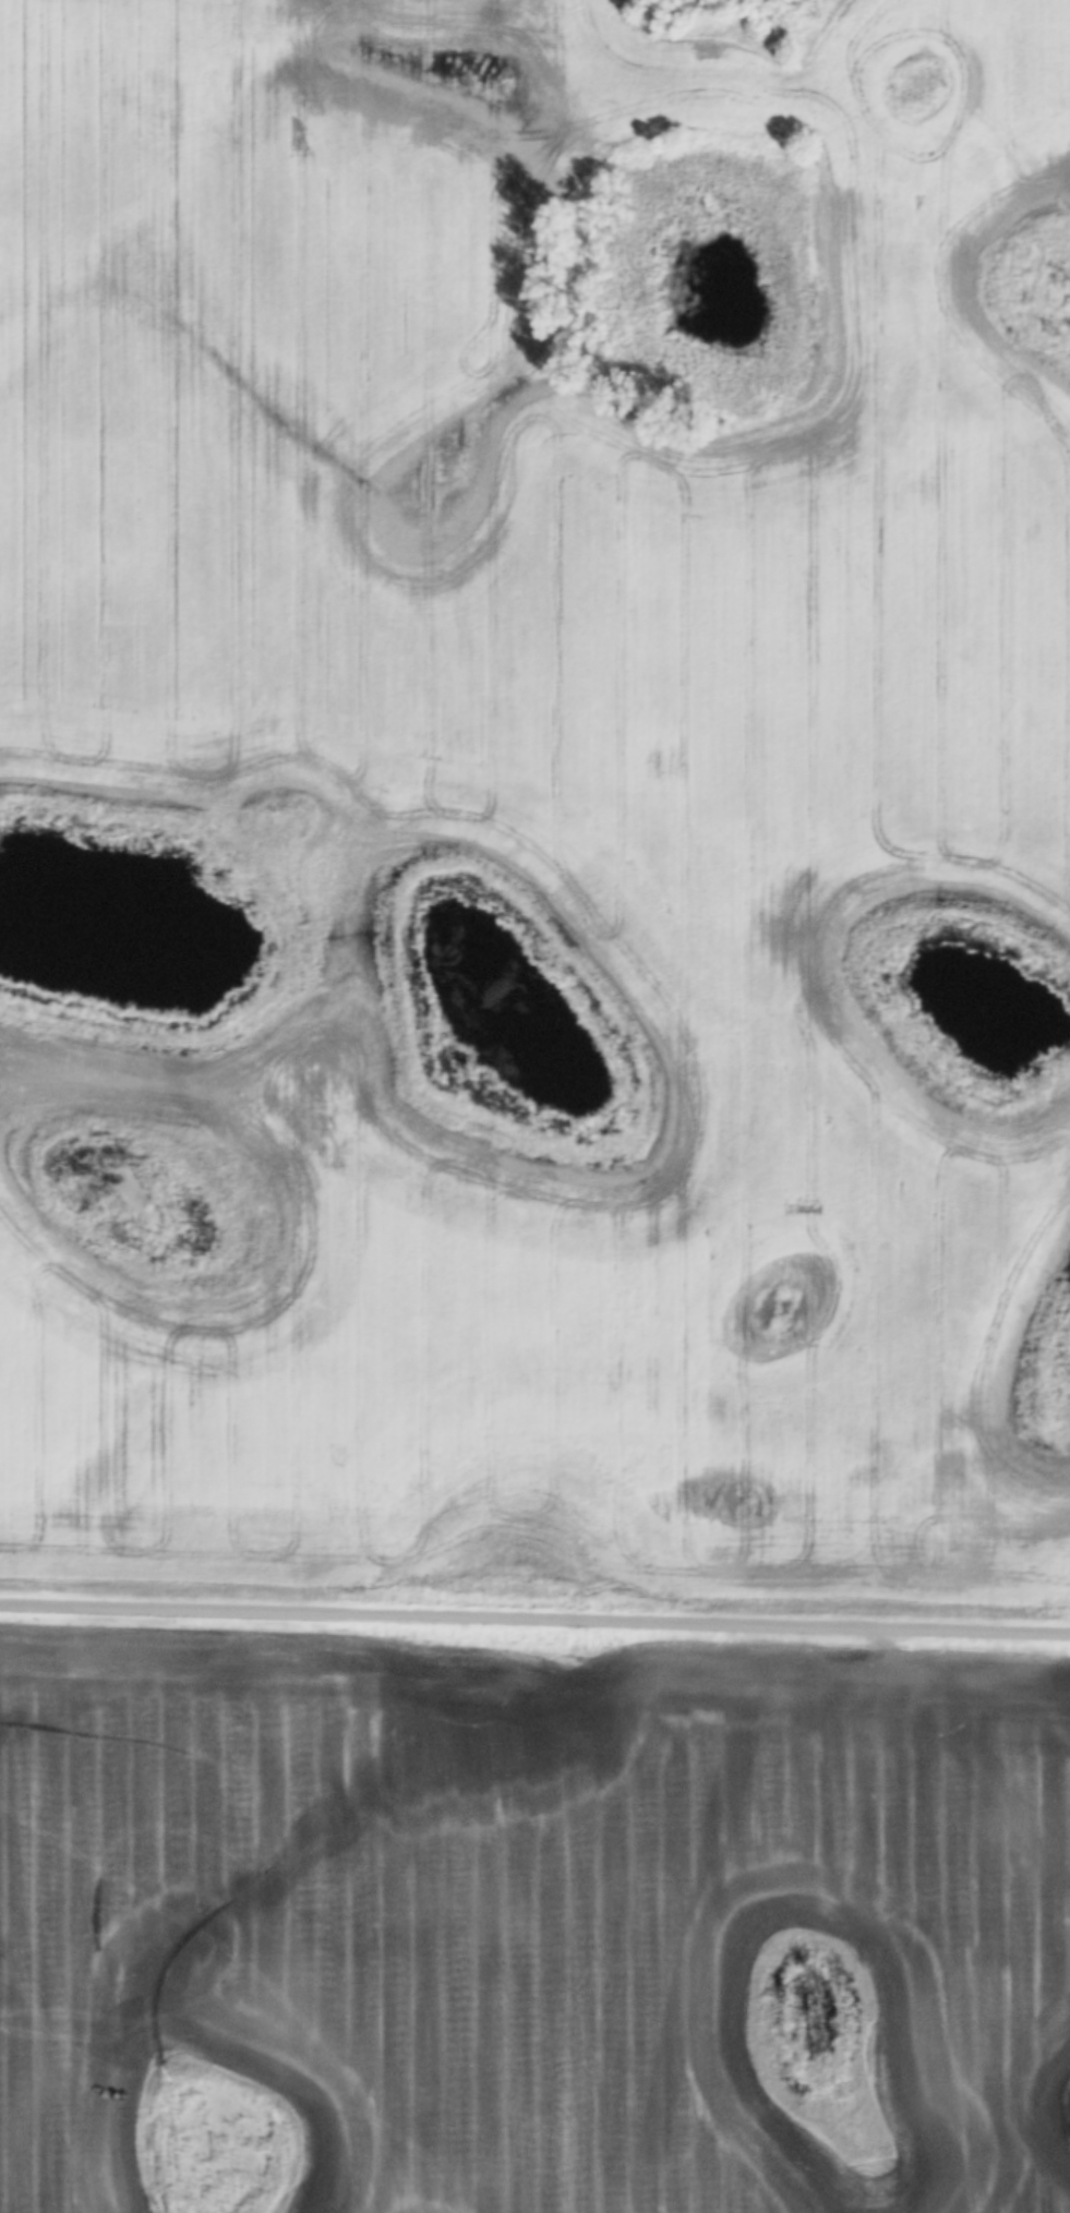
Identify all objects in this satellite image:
road: (443, 12)
road: (534, 1621)

